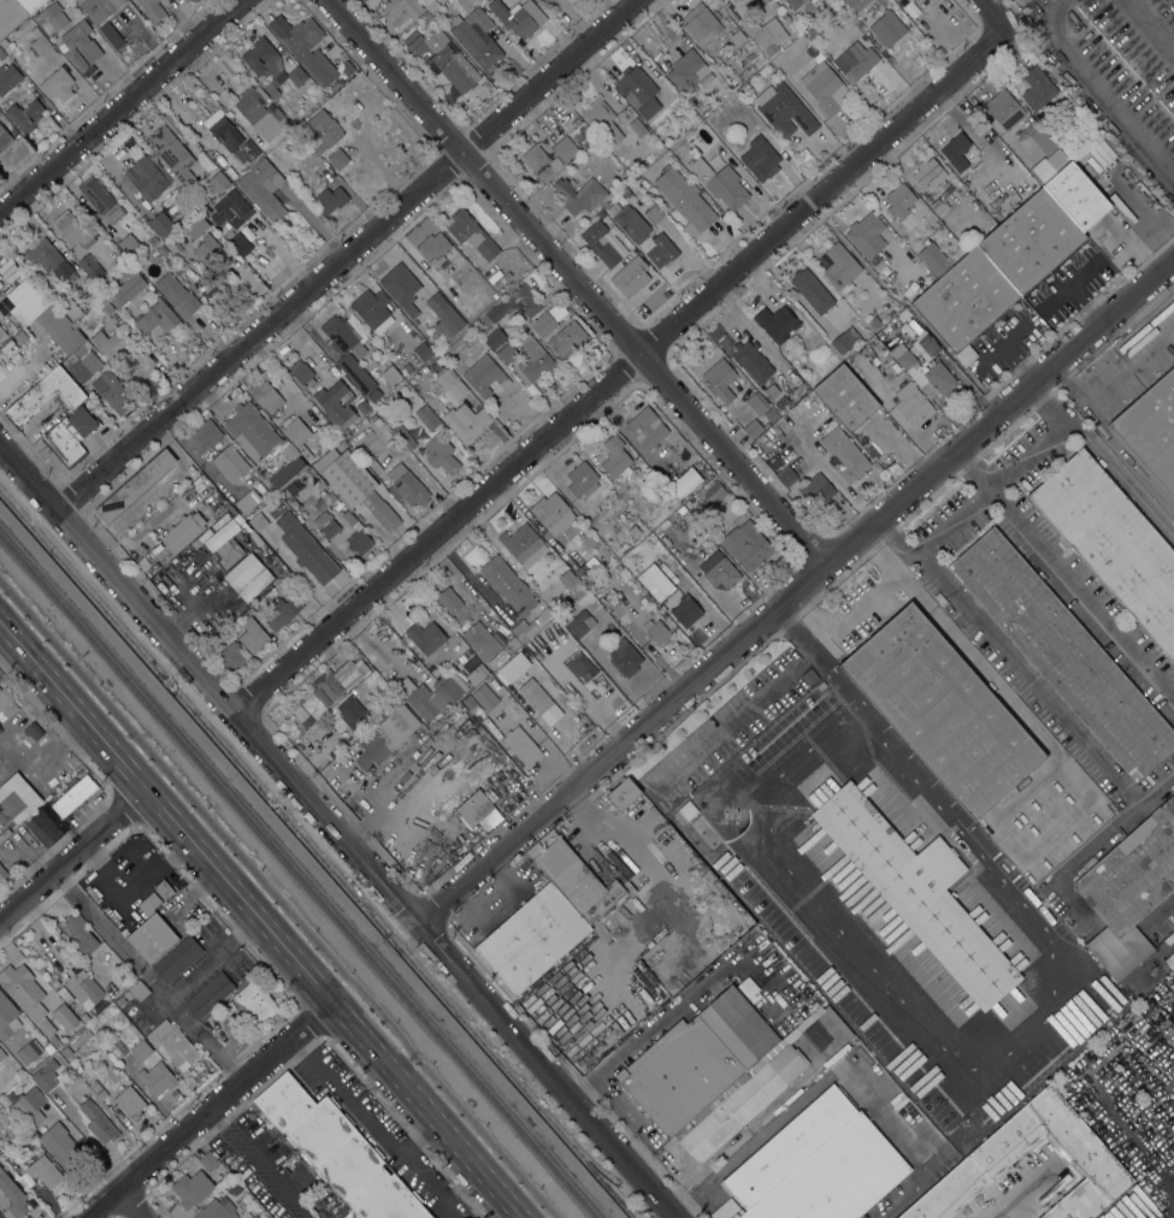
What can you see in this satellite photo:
building: (898, 0)
building: (76, 1)
building: (483, 1)
building: (880, 1)
building: (29, 5)
building: (853, 5)
building: (809, 7)
building: (427, 8)
building: (912, 8)
building: (152, 10)
building: (401, 11)
building: (10, 16)
building: (52, 16)
building: (519, 16)
road: (991, 17)
building: (104, 18)
building: (701, 23)
building: (887, 28)
building: (814, 30)
building: (766, 32)
building: (738, 39)
building: (477, 40)
building: (41, 43)
building: (79, 43)
building: (303, 46)
building: (810, 51)
building: (1, 54)
building: (442, 57)
building: (264, 59)
building: (859, 60)
building: (346, 66)
building: (689, 72)
building: (296, 75)
building: (741, 76)
building: (7, 78)
road: (1108, 83)
building: (58, 84)
building: (825, 85)
building: (1037, 87)
building: (271, 88)
building: (638, 90)
building: (703, 107)
road: (126, 108)
building: (1004, 108)
building: (785, 110)
building: (260, 112)
building: (25, 114)
building: (602, 120)
building: (1033, 125)
building: (637, 126)
building: (323, 128)
building: (4, 138)
building: (232, 138)
building: (564, 148)
building: (956, 150)
building: (171, 154)
building: (337, 158)
building: (760, 159)
building: (539, 161)
building: (1048, 165)
building: (928, 172)
building: (971, 173)
building: (147, 177)
building: (625, 178)
building: (217, 181)
building: (720, 182)
building: (977, 182)
building: (264, 188)
building: (633, 188)
building: (625, 193)
building: (963, 193)
building: (579, 194)
building: (1076, 196)
building: (100, 199)
building: (330, 199)
building: (685, 200)
building: (898, 200)
building: (938, 205)
building: (230, 206)
building: (610, 208)
building: (653, 213)
building: (601, 214)
building: (163, 224)
building: (631, 224)
building: (196, 225)
building: (939, 225)
building: (73, 230)
building: (225, 230)
building: (471, 232)
building: (866, 233)
building: (153, 240)
building: (600, 242)
building: (129, 243)
building: (241, 243)
building: (433, 248)
building: (210, 249)
road: (353, 252)
building: (654, 253)
building: (47, 258)
building: (89, 265)
building: (840, 266)
building: (998, 270)
building: (116, 276)
building: (99, 278)
road: (570, 282)
building: (401, 286)
building: (126, 289)
building: (812, 290)
building: (90, 294)
building: (177, 295)
building: (30, 302)
building: (513, 304)
building: (106, 306)
building: (372, 309)
building: (891, 313)
building: (903, 314)
building: (444, 315)
building: (157, 317)
building: (885, 317)
building: (775, 321)
building: (874, 323)
building: (539, 325)
building: (61, 331)
building: (2, 332)
building: (19, 336)
building: (495, 337)
building: (844, 338)
building: (566, 339)
building: (110, 344)
building: (874, 344)
building: (87, 345)
building: (453, 347)
building: (423, 350)
building: (343, 353)
building: (507, 353)
building: (747, 355)
building: (533, 359)
building: (90, 361)
building: (916, 365)
building: (407, 367)
building: (300, 369)
building: (484, 374)
building: (390, 377)
road: (623, 377)
building: (720, 379)
building: (456, 386)
building: (111, 391)
building: (374, 394)
building: (265, 395)
building: (845, 397)
building: (781, 401)
building: (336, 403)
building: (756, 403)
building: (913, 404)
building: (362, 407)
building: (427, 416)
building: (376, 419)
building: (466, 421)
building: (822, 425)
building: (647, 427)
building: (753, 428)
building: (1151, 428)
building: (250, 430)
building: (296, 431)
building: (70, 434)
building: (203, 436)
building: (403, 436)
road: (1113, 436)
building: (441, 453)
building: (844, 454)
building: (615, 456)
building: (368, 459)
building: (230, 462)
building: (287, 465)
building: (783, 471)
building: (582, 479)
building: (685, 483)
building: (354, 484)
building: (135, 485)
building: (407, 485)
building: (816, 490)
building: (710, 493)
building: (249, 504)
building: (165, 513)
building: (555, 515)
building: (348, 516)
building: (258, 521)
road: (952, 521)
building: (326, 522)
building: (183, 531)
building: (635, 531)
building: (359, 540)
building: (520, 542)
building: (1113, 542)
building: (745, 543)
building: (306, 548)
railway: (1128, 555)
building: (246, 564)
road: (1064, 570)
building: (585, 573)
building: (721, 573)
building: (653, 577)
building: (567, 579)
building: (507, 583)
road: (791, 587)
building: (452, 603)
building: (554, 605)
building: (686, 610)
building: (283, 611)
building: (485, 621)
building: (579, 622)
building: (532, 623)
building: (657, 632)
building: (253, 633)
building: (425, 635)
building: (482, 640)
building: (536, 652)
building: (1063, 652)
building: (230, 655)
building: (624, 657)
building: (514, 666)
building: (580, 666)
building: (809, 675)
road: (1023, 675)
road: (836, 676)
building: (340, 679)
building: (821, 685)
building: (431, 693)
road: (757, 699)
building: (468, 700)
building: (539, 700)
building: (6, 702)
building: (942, 709)
building: (352, 711)
building: (34, 731)
building: (387, 735)
building: (521, 744)
building: (73, 794)
building: (623, 794)
building: (11, 805)
building: (685, 811)
building: (465, 818)
road: (335, 828)
road: (72, 853)
road: (1072, 861)
railway: (300, 875)
road: (651, 875)
building: (577, 881)
building: (635, 881)
building: (164, 888)
building: (1129, 888)
building: (918, 892)
road: (278, 899)
building: (148, 901)
road: (497, 906)
road: (1166, 907)
road: (260, 920)
road: (111, 934)
building: (81, 935)
building: (152, 938)
building: (532, 938)
building: (1158, 951)
building: (177, 957)
road: (214, 958)
building: (1172, 969)
building: (54, 985)
building: (1129, 985)
building: (84, 988)
building: (23, 989)
building: (136, 991)
building: (210, 993)
building: (119, 1000)
building: (256, 1001)
building: (6, 1015)
building: (64, 1016)
building: (837, 1022)
building: (48, 1030)
road: (205, 1039)
road: (235, 1041)
building: (173, 1043)
building: (64, 1050)
building: (29, 1051)
building: (1, 1053)
building: (697, 1058)
building: (151, 1066)
road: (966, 1068)
building: (46, 1074)
road: (1026, 1087)
building: (98, 1089)
building: (173, 1094)
building: (8, 1098)
building: (898, 1100)
building: (37, 1101)
building: (130, 1101)
building: (739, 1102)
road: (207, 1108)
road: (886, 1114)
road: (368, 1124)
building: (101, 1125)
road: (411, 1131)
building: (1007, 1141)
road: (754, 1142)
building: (790, 1145)
building: (61, 1146)
building: (337, 1151)
building: (208, 1160)
road: (258, 1164)
building: (45, 1170)
building: (836, 1176)
building: (191, 1188)
building: (1133, 1194)
road: (1015, 1195)
building: (12, 1196)
road: (134, 1202)
building: (725, 1208)
building: (216, 1210)
building: (0, 1217)

